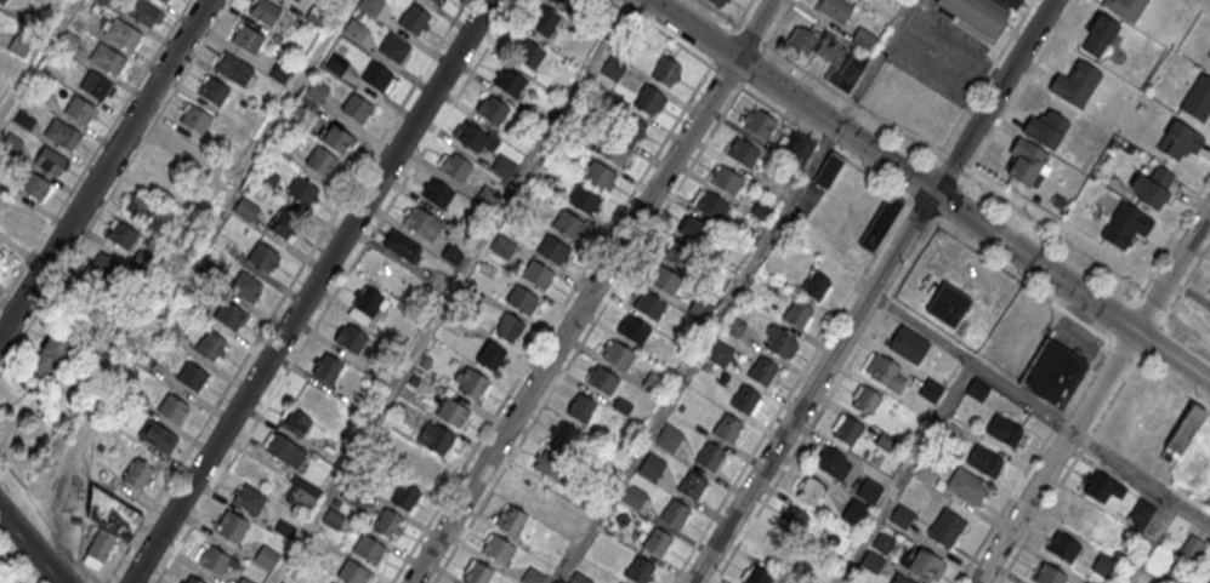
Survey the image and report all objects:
building: (164, 0)
building: (1, 1)
building: (102, 1)
building: (434, 1)
building: (438, 1)
building: (715, 2)
building: (1011, 2)
building: (569, 4)
building: (370, 5)
building: (1124, 7)
building: (265, 10)
building: (835, 10)
road: (911, 10)
building: (144, 12)
building: (976, 15)
building: (413, 21)
building: (544, 21)
building: (354, 30)
building: (121, 33)
building: (1098, 36)
building: (248, 38)
building: (802, 40)
building: (862, 40)
building: (69, 41)
road: (766, 44)
road: (948, 45)
road: (722, 46)
building: (393, 50)
building: (529, 55)
parking lot: (941, 55)
building: (107, 57)
building: (336, 63)
building: (233, 68)
building: (847, 68)
building: (613, 69)
building: (666, 70)
road: (871, 74)
road: (987, 74)
road: (998, 74)
building: (375, 79)
building: (509, 81)
building: (1074, 82)
road: (1023, 84)
building: (95, 85)
building: (212, 90)
building: (317, 91)
building: (1197, 92)
road: (837, 93)
road: (994, 97)
building: (649, 99)
building: (490, 108)
building: (79, 109)
building: (356, 109)
building: (195, 119)
building: (627, 125)
building: (760, 126)
building: (1045, 127)
building: (62, 133)
building: (475, 137)
building: (336, 141)
building: (1178, 141)
building: (797, 145)
building: (177, 148)
road: (93, 152)
building: (613, 152)
building: (743, 154)
building: (50, 160)
building: (1024, 160)
building: (320, 162)
road: (103, 167)
building: (454, 167)
building: (502, 167)
building: (826, 172)
building: (158, 176)
building: (598, 176)
building: (266, 177)
building: (725, 182)
building: (33, 184)
building: (1154, 187)
road: (930, 190)
building: (301, 193)
building: (436, 194)
building: (583, 200)
building: (138, 205)
building: (710, 206)
building: (246, 208)
building: (18, 213)
road: (655, 222)
building: (283, 223)
building: (421, 224)
building: (880, 224)
building: (1124, 224)
building: (567, 225)
building: (695, 232)
building: (123, 235)
building: (401, 245)
building: (501, 246)
building: (552, 251)
building: (453, 253)
building: (680, 256)
road: (1158, 256)
building: (262, 258)
building: (106, 265)
road: (1171, 267)
building: (536, 275)
building: (664, 281)
road: (1185, 282)
building: (0, 285)
building: (816, 285)
building: (245, 287)
road: (285, 291)
road: (309, 291)
road: (334, 291)
road: (591, 291)
building: (1209, 295)
building: (81, 298)
building: (522, 301)
building: (948, 303)
building: (365, 305)
building: (647, 307)
road: (884, 307)
road: (558, 310)
building: (797, 314)
building: (229, 316)
building: (76, 324)
building: (509, 326)
building: (734, 326)
building: (632, 331)
building: (351, 337)
parking lot: (1074, 337)
building: (779, 342)
building: (210, 344)
building: (908, 344)
building: (50, 351)
building: (718, 351)
building: (490, 355)
road: (697, 355)
building: (617, 356)
road: (971, 361)
building: (326, 367)
building: (880, 367)
building: (761, 370)
building: (1052, 372)
building: (191, 376)
road: (1157, 376)
building: (602, 382)
building: (470, 383)
building: (654, 383)
road: (812, 388)
building: (744, 399)
building: (864, 399)
building: (580, 406)
building: (171, 407)
building: (450, 413)
building: (295, 422)
building: (727, 428)
building: (846, 429)
building: (1004, 429)
building: (1183, 430)
building: (157, 435)
building: (561, 435)
building: (436, 438)
building: (669, 438)
building: (284, 450)
building: (709, 456)
road: (1055, 456)
building: (983, 459)
building: (833, 463)
building: (649, 465)
building: (417, 467)
building: (549, 467)
road: (903, 473)
building: (138, 474)
road: (1140, 476)
building: (692, 484)
building: (966, 485)
building: (1102, 486)
building: (809, 490)
building: (869, 491)
building: (301, 493)
building: (405, 495)
building: (634, 496)
building: (249, 498)
building: (675, 513)
building: (854, 513)
building: (1140, 513)
building: (112, 514)
building: (901, 516)
building: (510, 519)
building: (791, 520)
building: (388, 524)
building: (231, 526)
building: (945, 527)
building: (657, 541)
road: (1147, 541)
building: (1192, 545)
road: (32, 547)
building: (771, 547)
building: (1063, 547)
building: (98, 549)
building: (367, 550)
building: (498, 550)
building: (266, 556)
building: (212, 559)
building: (925, 565)
building: (1106, 565)
building: (638, 570)
building: (352, 573)
building: (476, 573)
road: (89, 575)
building: (756, 575)
building: (1047, 575)
building: (532, 576)
building: (579, 578)
building: (189, 579)
building: (245, 579)
building: (903, 579)
building: (282, 582)
building: (619, 582)
building: (1090, 582)
building: (1209, 582)

